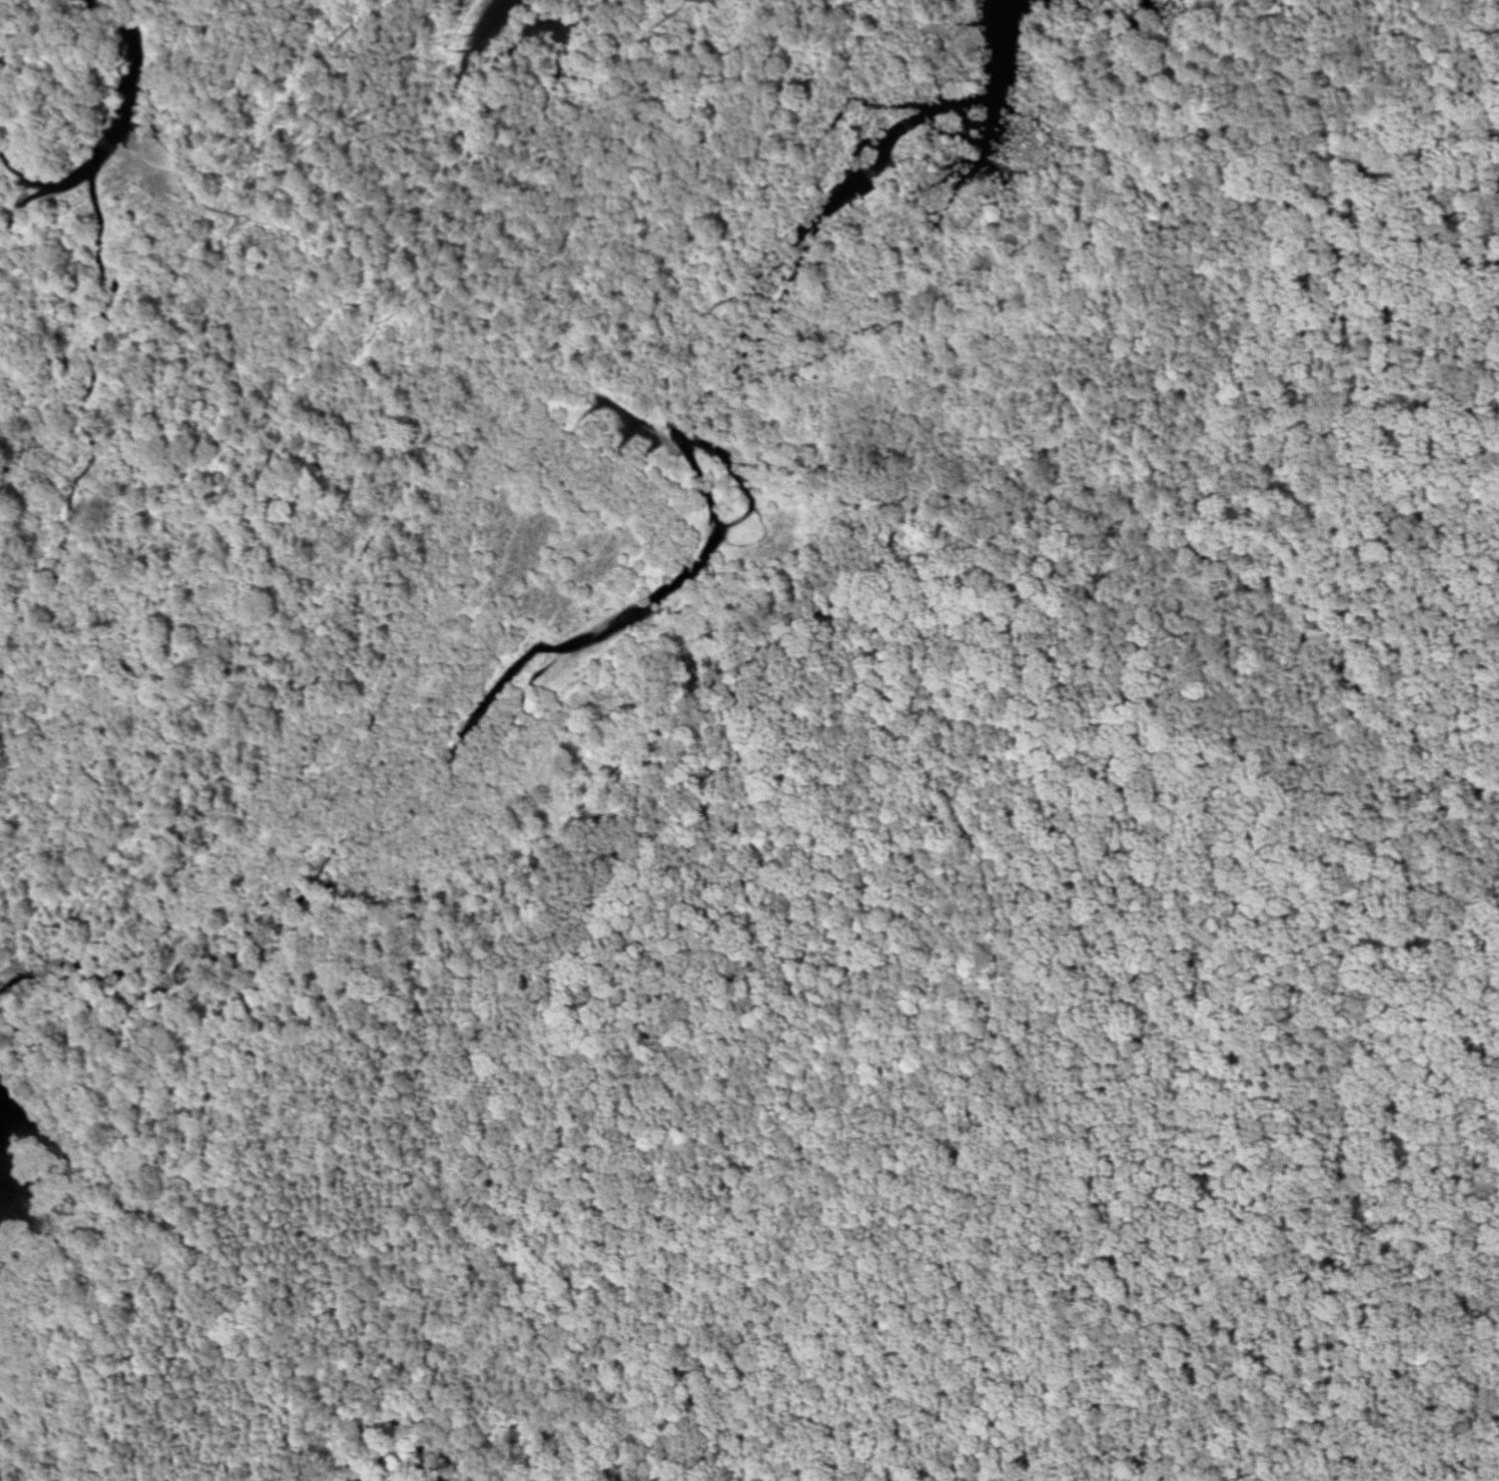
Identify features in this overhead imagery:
river: (129, 130)
road: (1109, 483)

